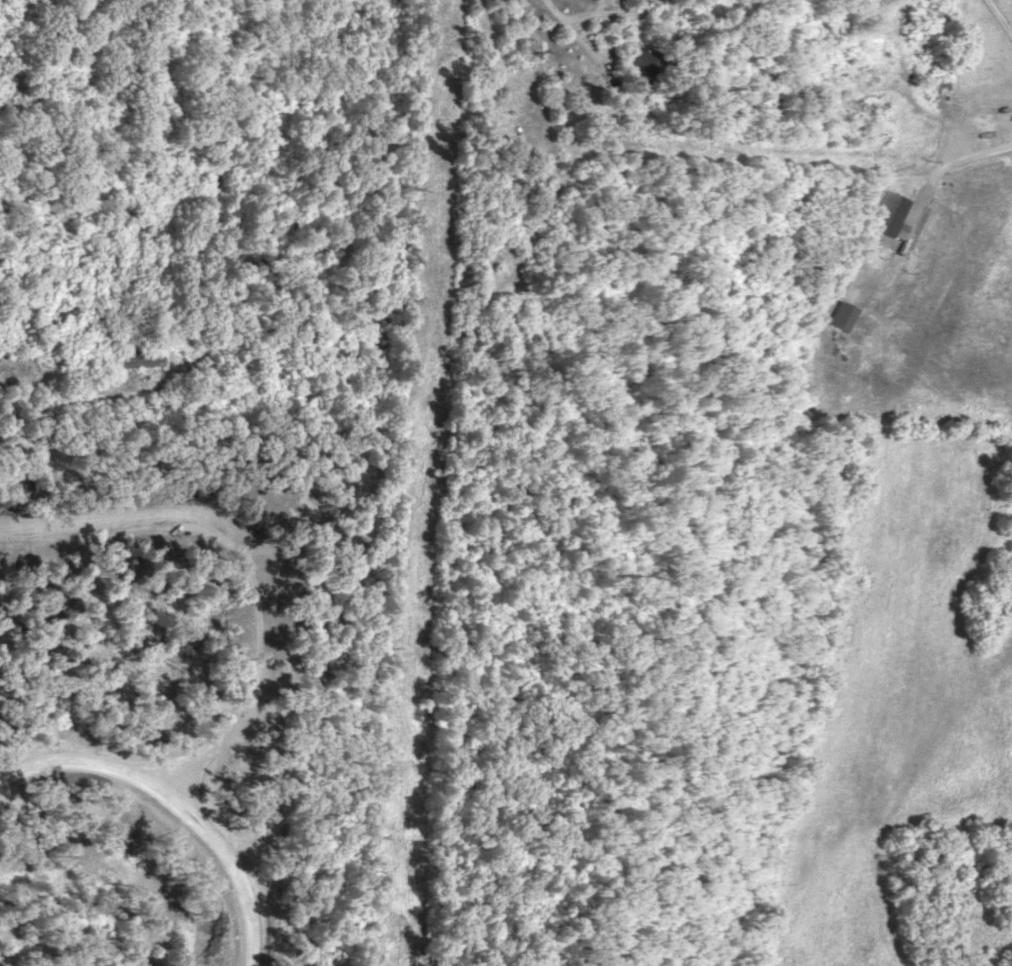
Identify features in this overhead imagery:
road: (594, 16)
road: (994, 22)
building: (649, 63)
road: (938, 166)
building: (889, 213)
building: (841, 313)
road: (284, 545)
road: (171, 806)

